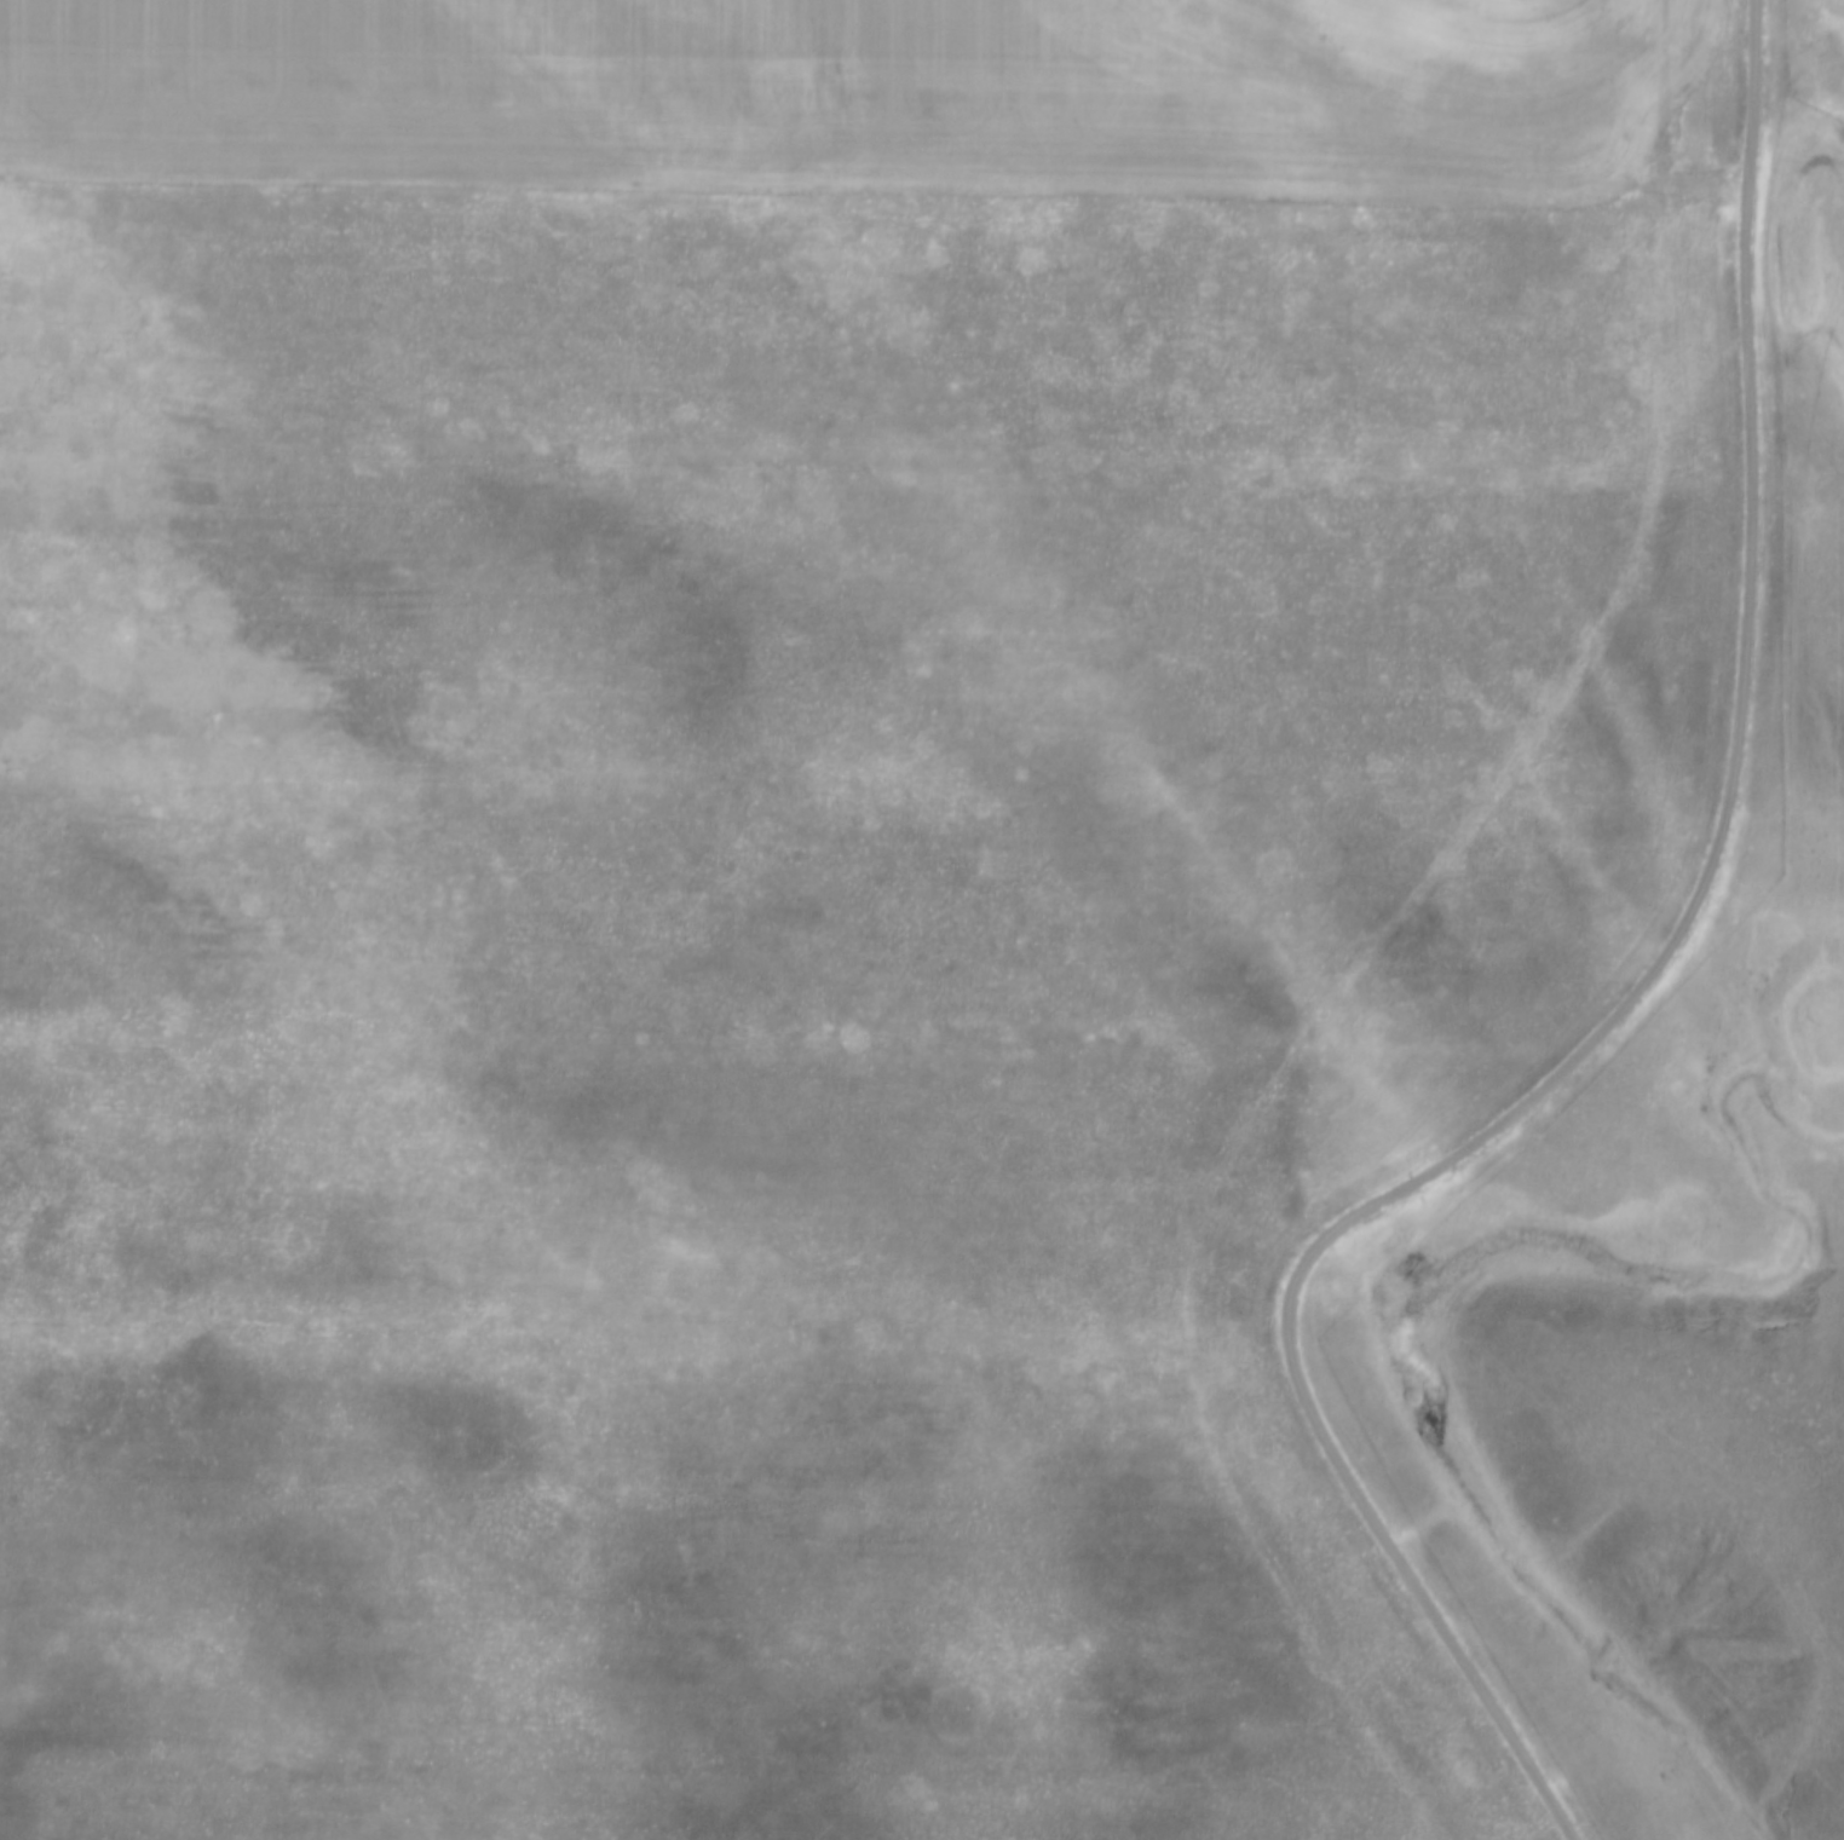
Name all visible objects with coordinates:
road: (1615, 1021)

